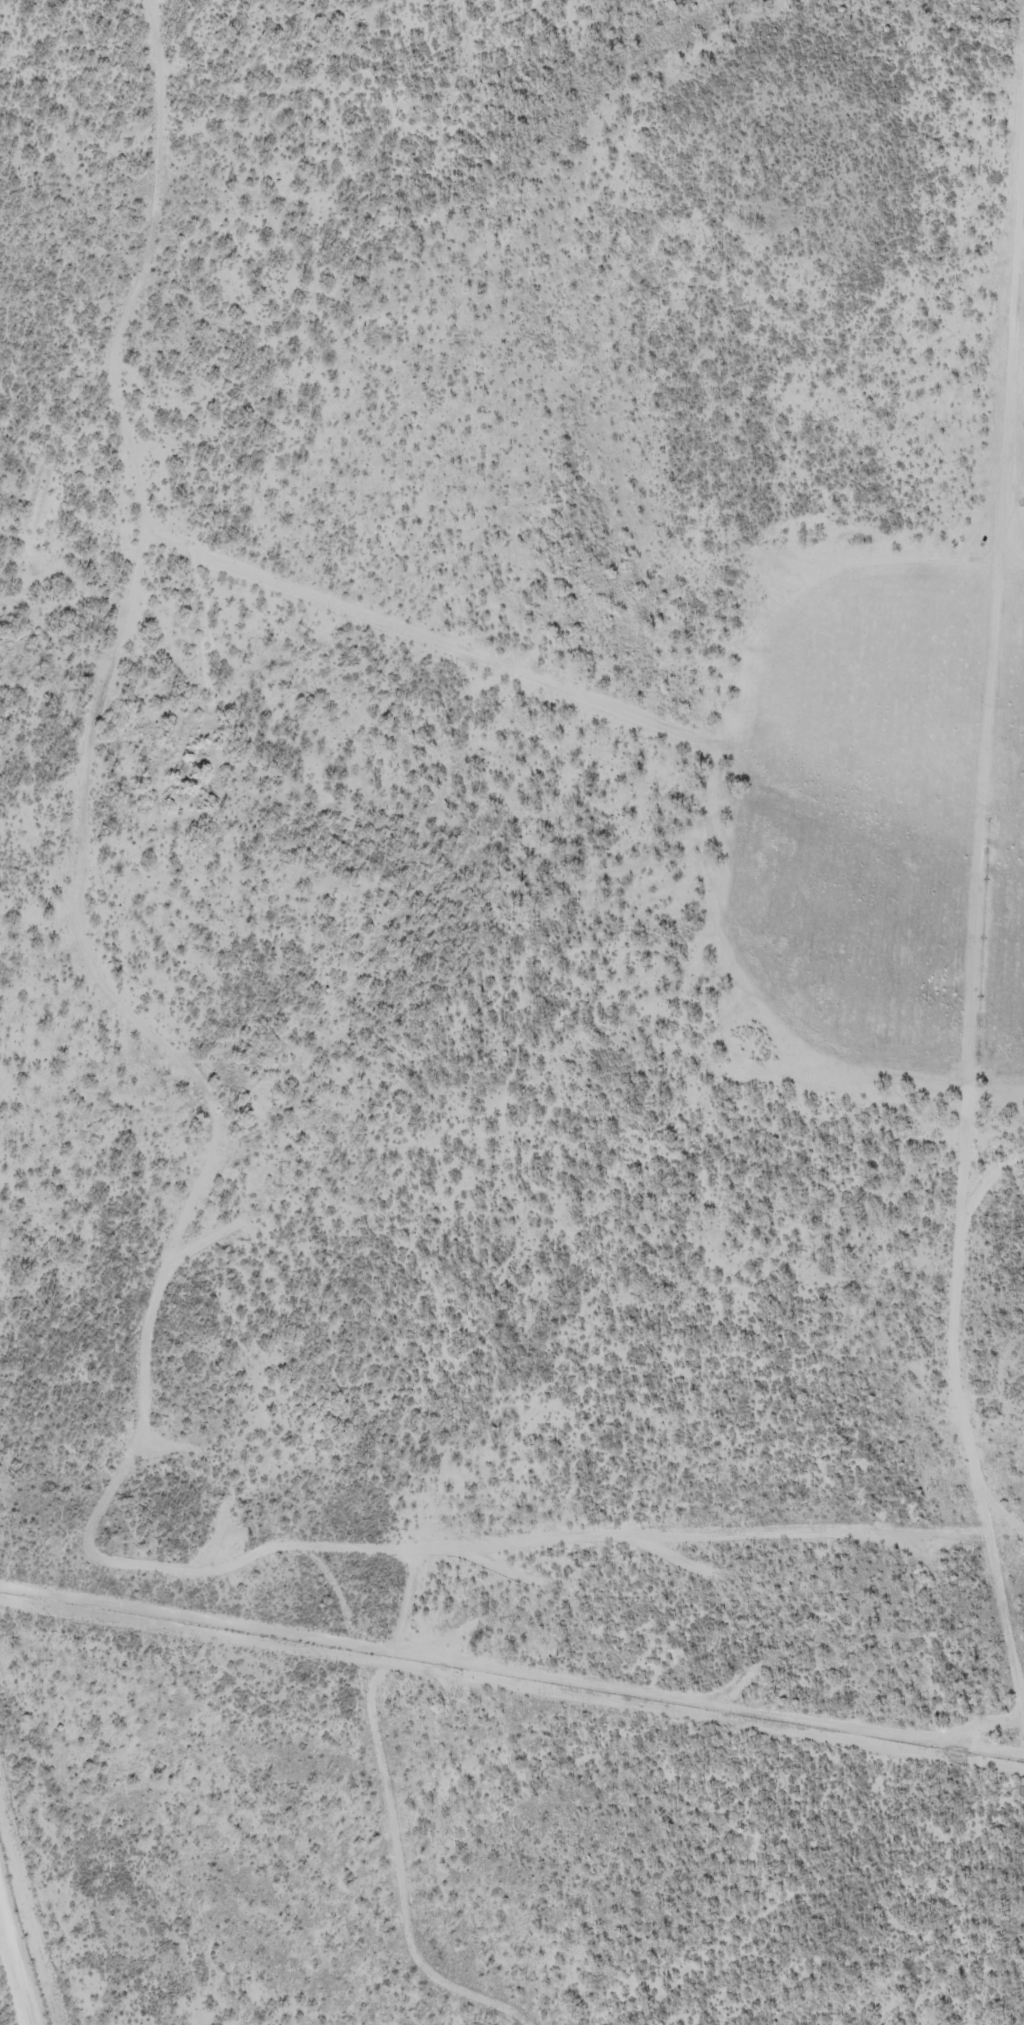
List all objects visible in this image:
road: (512, 1671)
road: (16, 1965)

